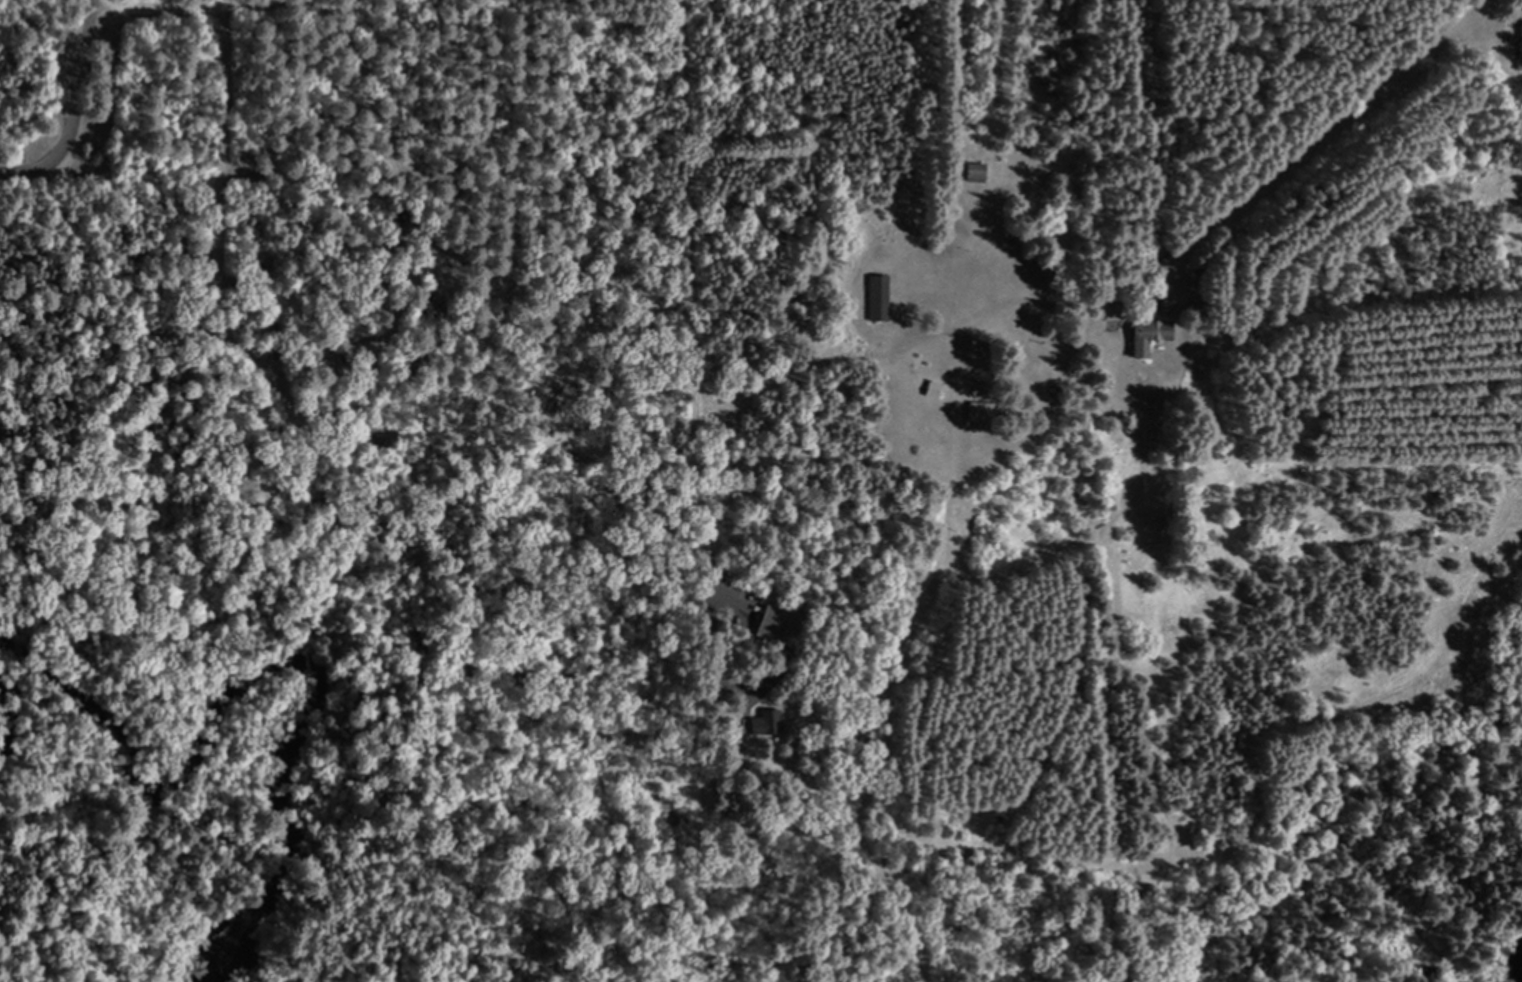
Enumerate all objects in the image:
road: (158, 10)
road: (406, 107)
road: (73, 108)
building: (977, 172)
road: (998, 245)
building: (878, 297)
road: (687, 330)
building: (1147, 335)
building: (978, 410)
park: (348, 491)
building: (774, 620)
river: (284, 660)
building: (768, 722)
river: (3, 731)
river: (1518, 968)

